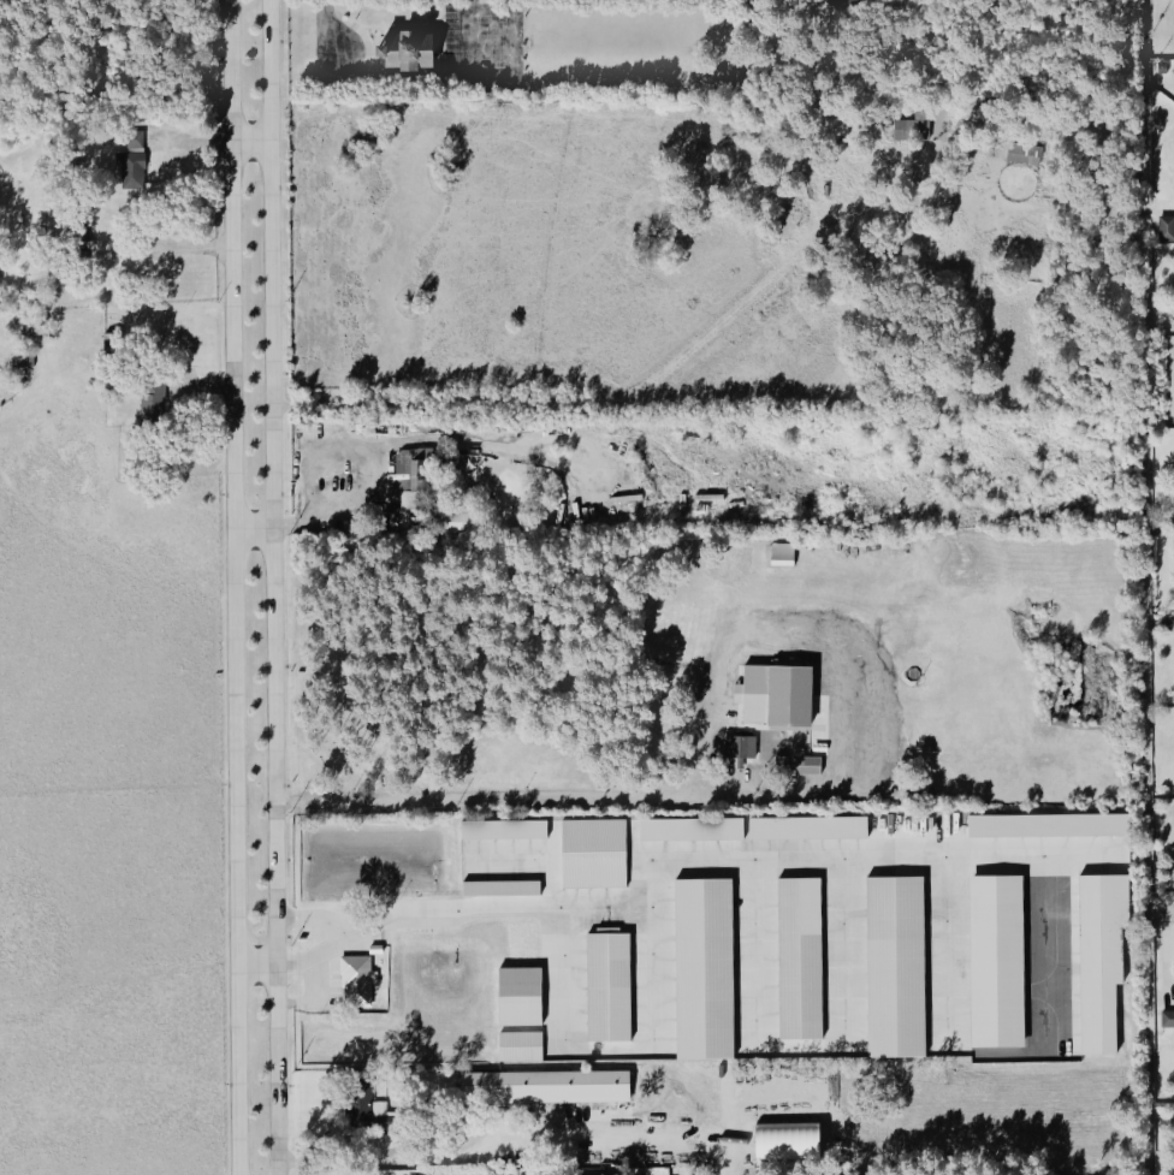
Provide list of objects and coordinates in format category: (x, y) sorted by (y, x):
building: (835, 2)
building: (855, 2)
road: (327, 25)
building: (408, 49)
road: (491, 85)
building: (917, 127)
road: (251, 133)
building: (1026, 154)
building: (134, 161)
building: (1167, 227)
building: (84, 238)
road: (165, 249)
building: (154, 399)
building: (413, 467)
road: (322, 515)
road: (254, 527)
building: (784, 554)
road: (235, 587)
road: (274, 587)
road: (825, 631)
building: (777, 695)
building: (742, 747)
building: (807, 764)
road: (510, 802)
building: (1049, 826)
building: (811, 827)
building: (693, 829)
building: (504, 830)
building: (595, 854)
building: (503, 889)
road: (1164, 910)
road: (446, 913)
road: (338, 936)
road: (257, 956)
building: (1099, 962)
building: (942, 968)
building: (358, 981)
building: (610, 987)
road: (310, 993)
building: (521, 997)
building: (1168, 1019)
building: (522, 1046)
building: (546, 1087)
building: (789, 1141)
road: (446, 1159)

